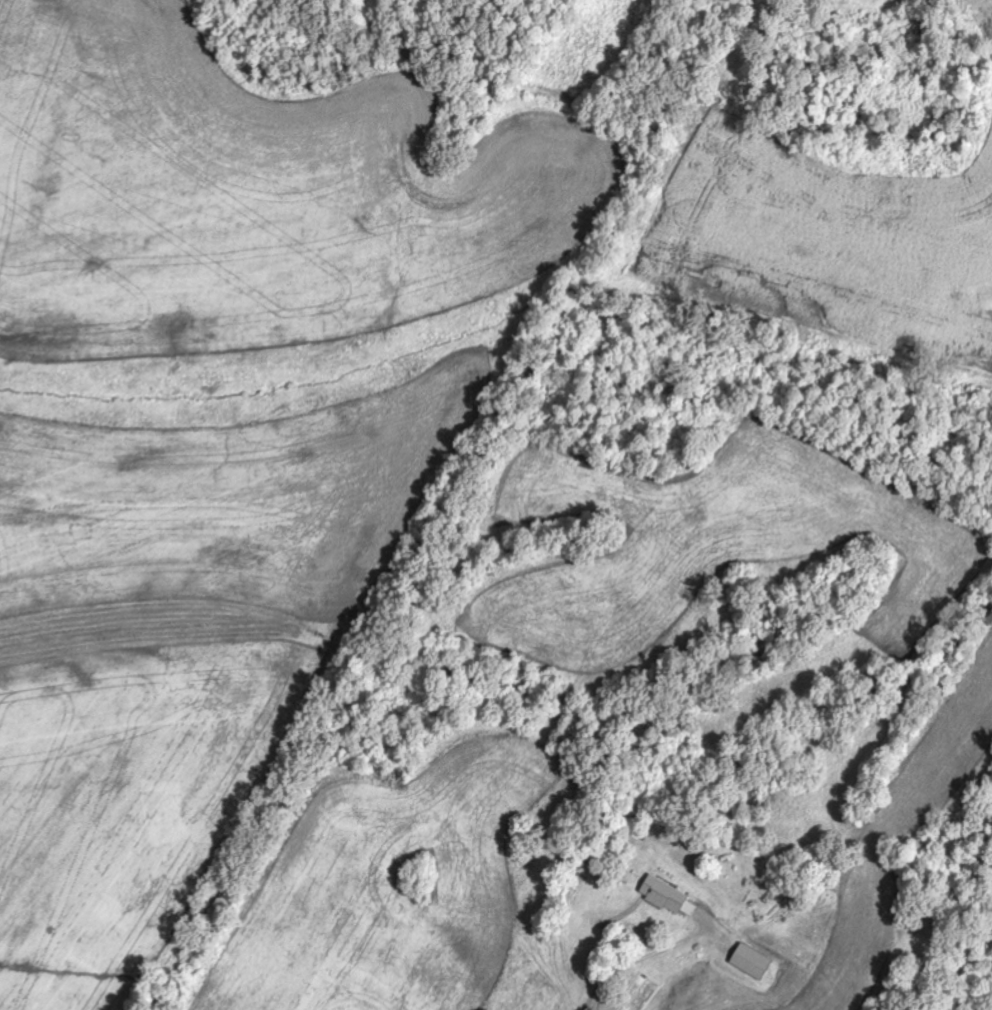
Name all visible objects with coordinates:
building: (670, 895)
building: (757, 962)

